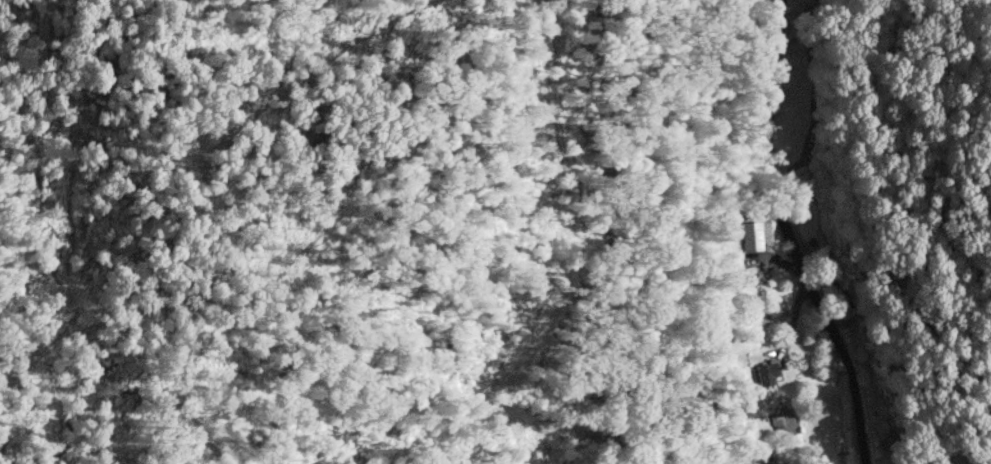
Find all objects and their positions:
building: (754, 235)
road: (787, 237)
building: (766, 373)
building: (785, 425)

